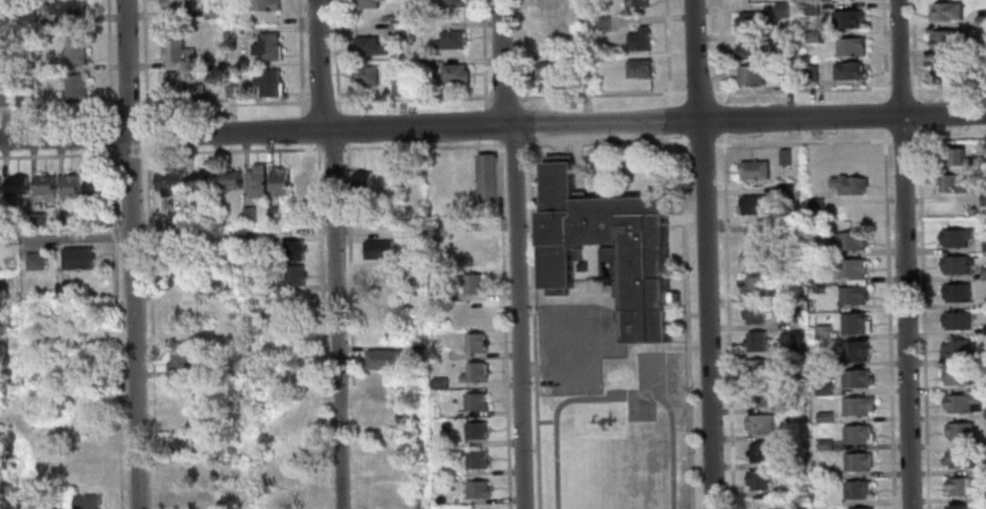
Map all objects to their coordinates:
building: (635, 2)
building: (364, 3)
building: (450, 3)
building: (548, 3)
building: (172, 4)
building: (263, 5)
building: (67, 7)
building: (810, 8)
building: (780, 10)
building: (210, 11)
building: (945, 11)
building: (25, 16)
building: (844, 19)
building: (751, 21)
building: (980, 22)
building: (600, 24)
building: (419, 26)
building: (396, 27)
building: (242, 32)
building: (549, 34)
building: (812, 37)
building: (637, 39)
building: (943, 39)
building: (449, 40)
building: (266, 46)
building: (366, 46)
building: (849, 46)
building: (751, 48)
building: (174, 49)
building: (74, 50)
road: (882, 50)
road: (911, 50)
road: (665, 52)
road: (719, 52)
road: (516, 53)
road: (334, 55)
road: (482, 55)
road: (298, 57)
building: (212, 59)
road: (106, 61)
road: (143, 61)
road: (500, 62)
road: (318, 64)
building: (419, 64)
building: (945, 66)
building: (637, 68)
building: (550, 69)
building: (847, 70)
building: (453, 73)
building: (751, 73)
building: (810, 73)
building: (981, 73)
building: (364, 75)
building: (785, 76)
building: (267, 83)
building: (582, 84)
building: (179, 86)
road: (947, 86)
road: (897, 87)
building: (74, 88)
building: (399, 88)
road: (798, 89)
building: (231, 90)
road: (696, 92)
road: (599, 94)
road: (502, 97)
building: (5, 98)
building: (20, 98)
road: (410, 99)
road: (318, 102)
road: (221, 103)
road: (125, 106)
road: (57, 108)
road: (883, 108)
road: (721, 113)
road: (914, 113)
road: (667, 119)
road: (747, 119)
road: (522, 122)
road: (490, 124)
road: (340, 127)
road: (307, 129)
road: (254, 131)
road: (109, 133)
road: (145, 133)
road: (668, 136)
road: (947, 139)
road: (607, 140)
road: (899, 141)
road: (800, 143)
road: (511, 144)
road: (699, 146)
road: (421, 147)
road: (330, 149)
road: (229, 150)
road: (127, 154)
building: (984, 154)
road: (57, 156)
building: (951, 156)
building: (783, 157)
building: (848, 159)
building: (752, 170)
building: (201, 179)
building: (229, 179)
building: (168, 181)
building: (255, 181)
building: (278, 181)
building: (486, 181)
building: (361, 182)
building: (301, 183)
building: (949, 183)
building: (15, 185)
building: (844, 185)
building: (92, 186)
building: (43, 187)
building: (69, 187)
building: (411, 187)
building: (785, 191)
building: (982, 198)
building: (753, 204)
building: (814, 204)
building: (248, 214)
building: (271, 214)
road: (111, 216)
building: (176, 218)
building: (64, 219)
building: (37, 220)
building: (98, 221)
road: (117, 236)
building: (954, 238)
building: (849, 240)
building: (984, 244)
building: (377, 249)
building: (634, 249)
building: (292, 250)
building: (181, 251)
road: (130, 254)
building: (474, 254)
road: (704, 254)
road: (902, 254)
building: (75, 257)
building: (754, 258)
building: (33, 261)
building: (952, 265)
building: (583, 268)
building: (850, 268)
building: (377, 270)
building: (983, 274)
building: (293, 275)
building: (472, 284)
building: (754, 286)
building: (816, 289)
building: (955, 293)
building: (438, 295)
building: (788, 295)
building: (851, 295)
building: (984, 301)
building: (378, 308)
building: (474, 314)
building: (753, 314)
road: (517, 316)
road: (921, 317)
building: (788, 318)
road: (335, 319)
building: (954, 320)
road: (503, 323)
road: (531, 323)
building: (853, 324)
road: (150, 326)
road: (320, 326)
road: (348, 326)
road: (684, 326)
building: (984, 329)
road: (600, 331)
building: (821, 332)
road: (542, 335)
road: (567, 335)
building: (755, 341)
building: (789, 341)
building: (473, 343)
parking lot: (576, 346)
road: (676, 348)
building: (954, 349)
building: (417, 351)
building: (853, 351)
building: (438, 353)
building: (984, 357)
building: (383, 359)
building: (179, 361)
building: (754, 369)
building: (211, 370)
building: (473, 372)
road: (647, 373)
building: (956, 376)
building: (854, 379)
building: (438, 382)
building: (984, 386)
building: (822, 389)
road: (612, 397)
building: (756, 397)
building: (473, 402)
building: (791, 403)
building: (961, 403)
building: (856, 406)
building: (984, 413)
building: (823, 417)
road: (536, 421)
building: (759, 425)
building: (474, 430)
building: (957, 431)
building: (855, 434)
building: (183, 444)
building: (823, 445)
building: (230, 450)
building: (982, 452)
building: (758, 453)
building: (476, 459)
building: (958, 459)
building: (856, 462)
building: (285, 467)
building: (824, 472)
building: (757, 480)
road: (123, 484)
building: (963, 486)
building: (476, 490)
building: (856, 490)
road: (118, 496)
building: (285, 496)
building: (9, 498)
building: (187, 498)
building: (85, 501)
building: (760, 504)
building: (223, 505)
building: (955, 507)
building: (51, 508)
building: (480, 508)
building: (861, 508)

